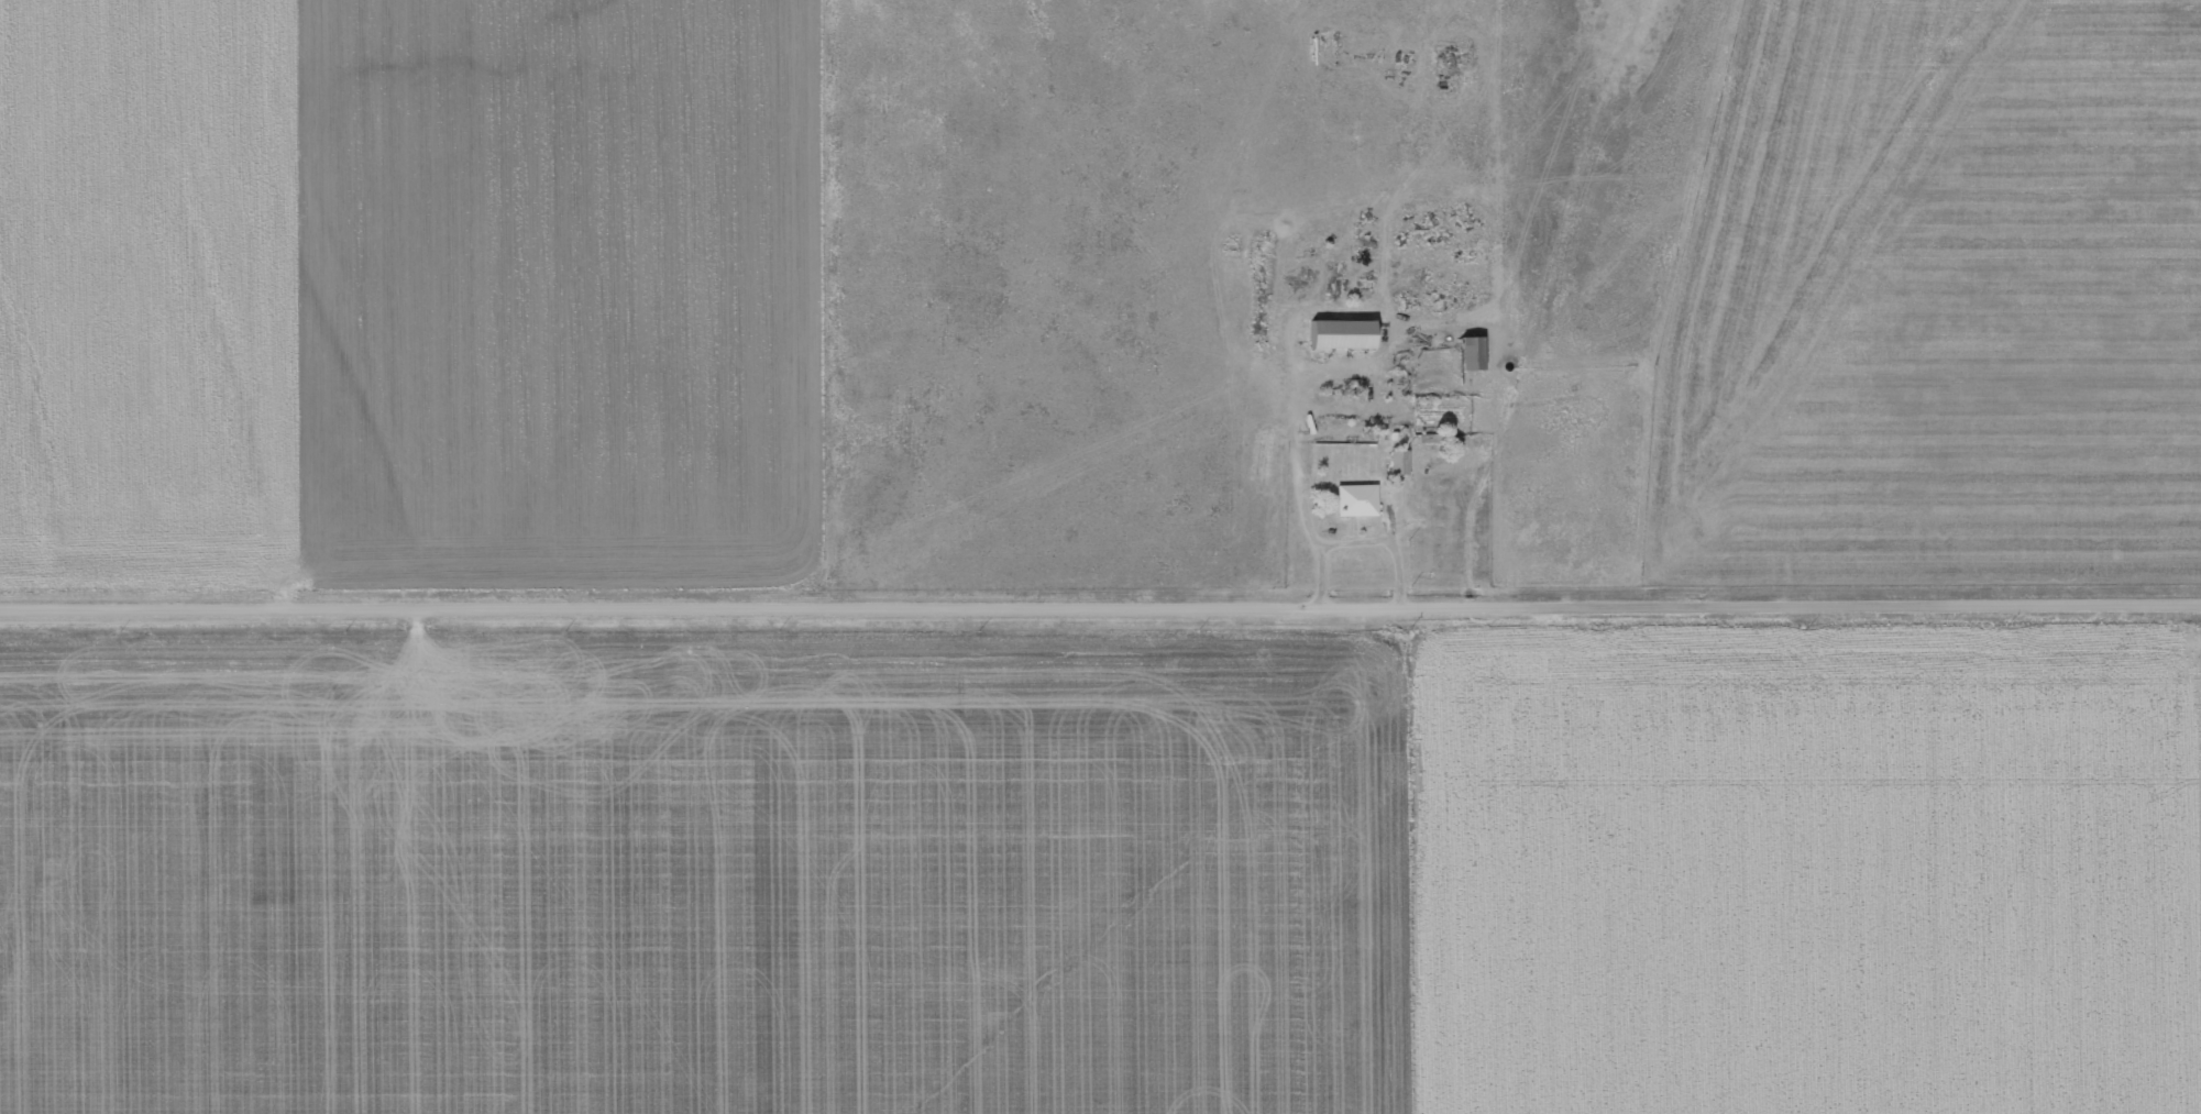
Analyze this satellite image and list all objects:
building: (1344, 332)
building: (1473, 351)
building: (1398, 461)
building: (1356, 498)
road: (1100, 605)

